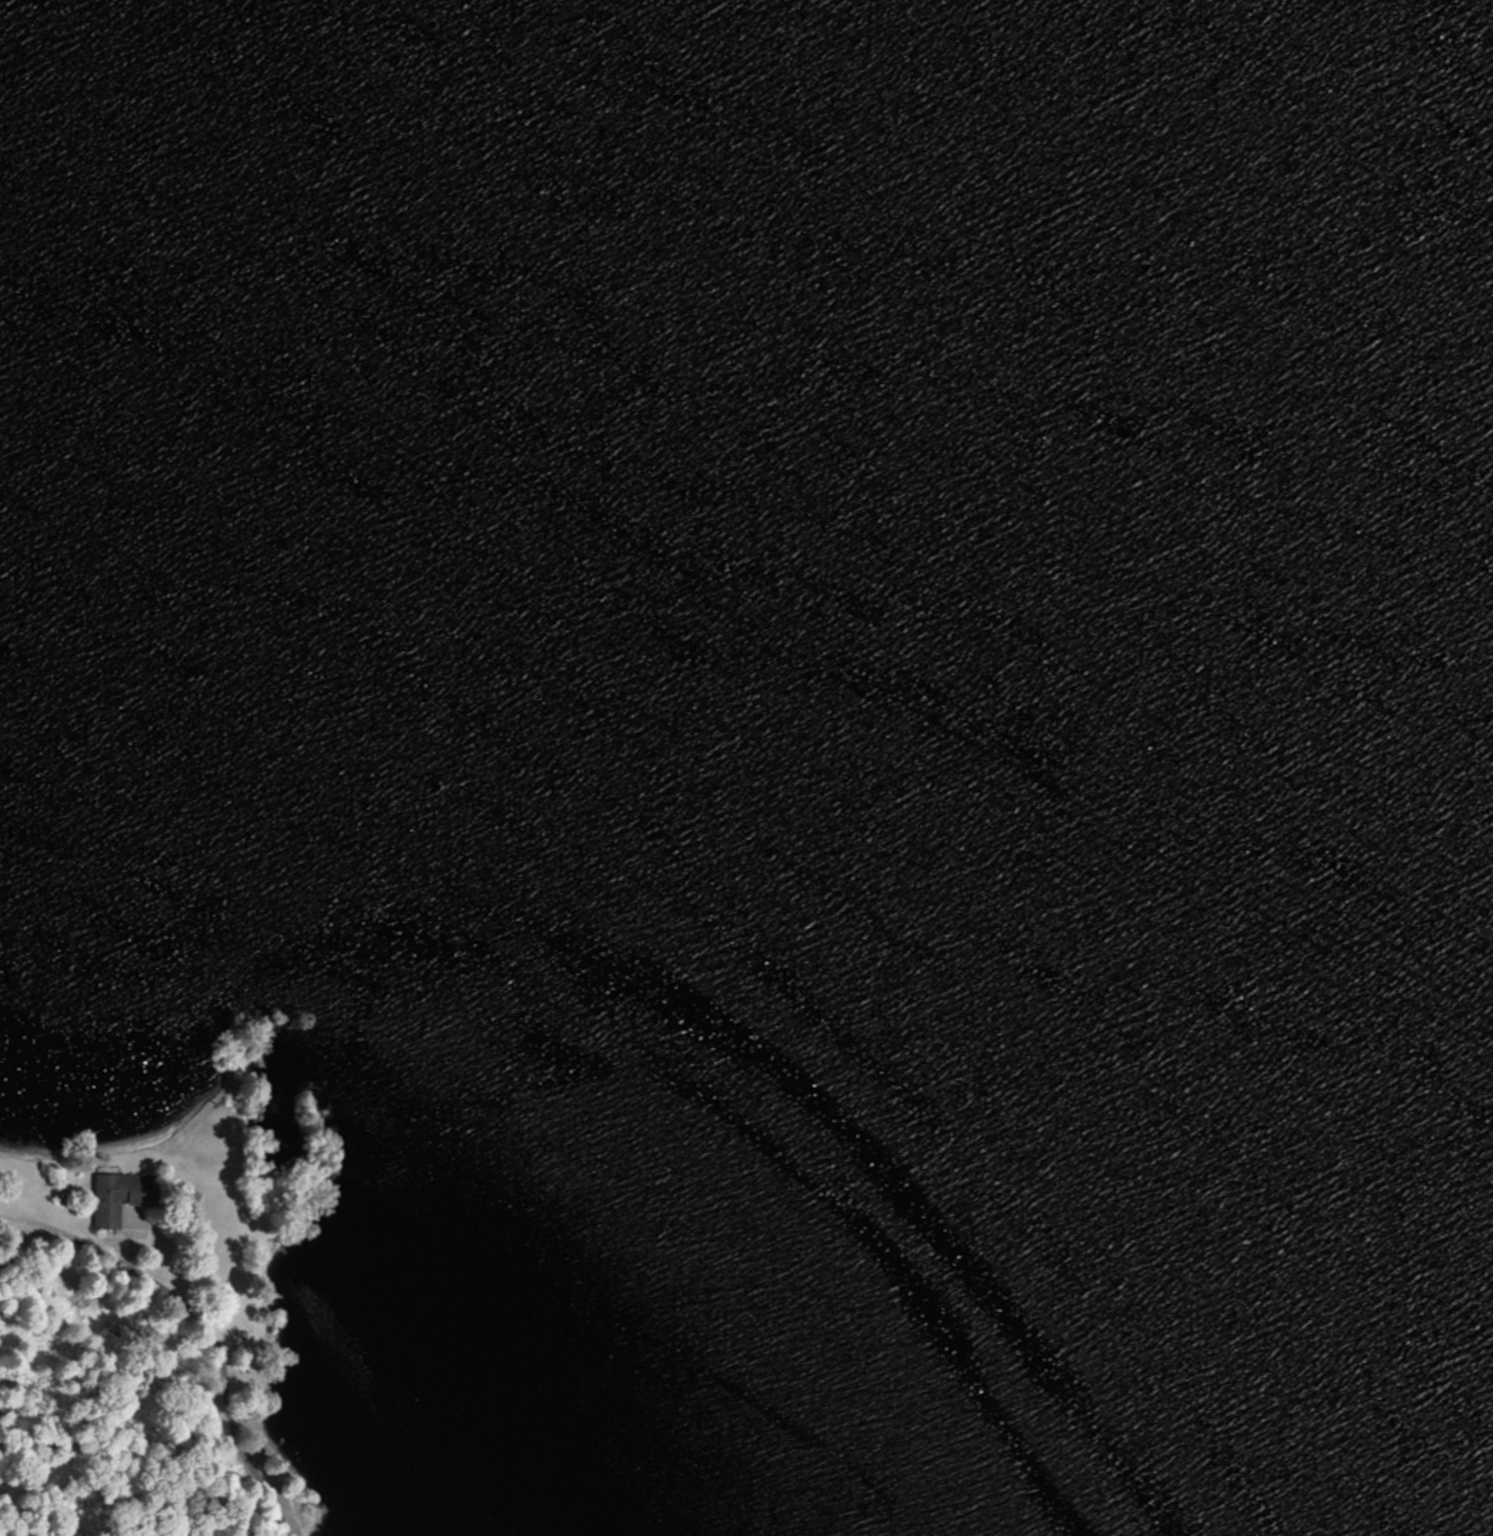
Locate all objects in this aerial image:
building: (121, 1196)
road: (94, 1249)

